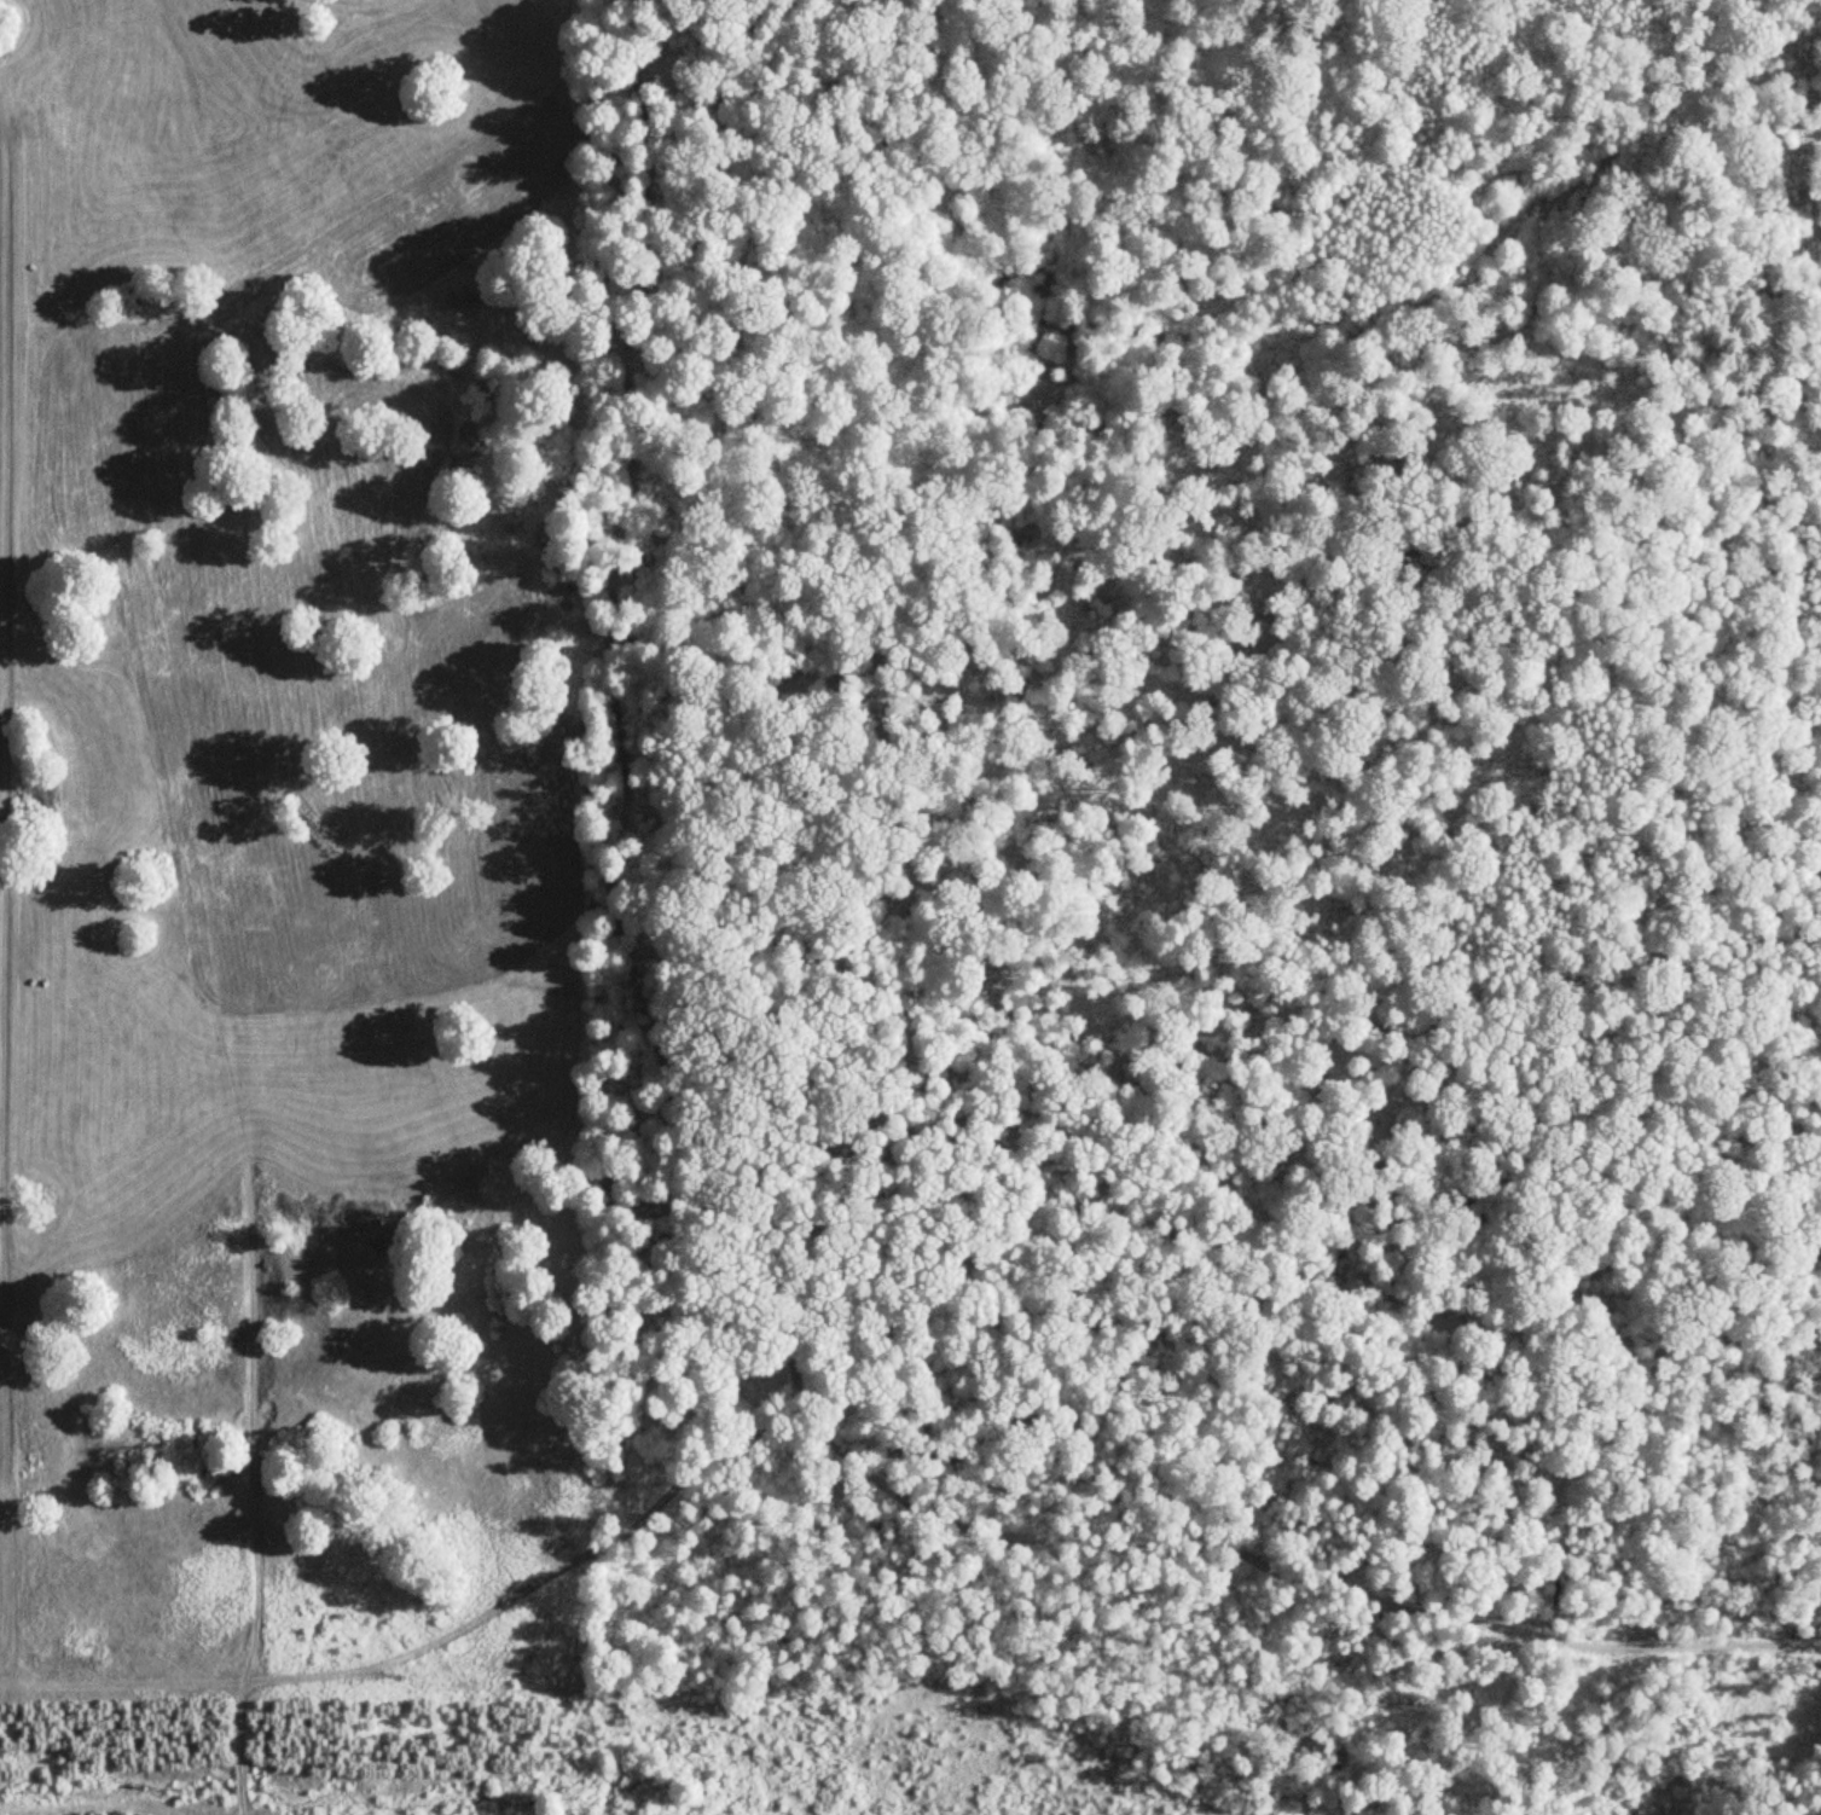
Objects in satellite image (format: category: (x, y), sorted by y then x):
road: (630, 51)
road: (1226, 404)
road: (1301, 973)
road: (689, 1127)
road: (1352, 1369)
road: (1385, 1554)

